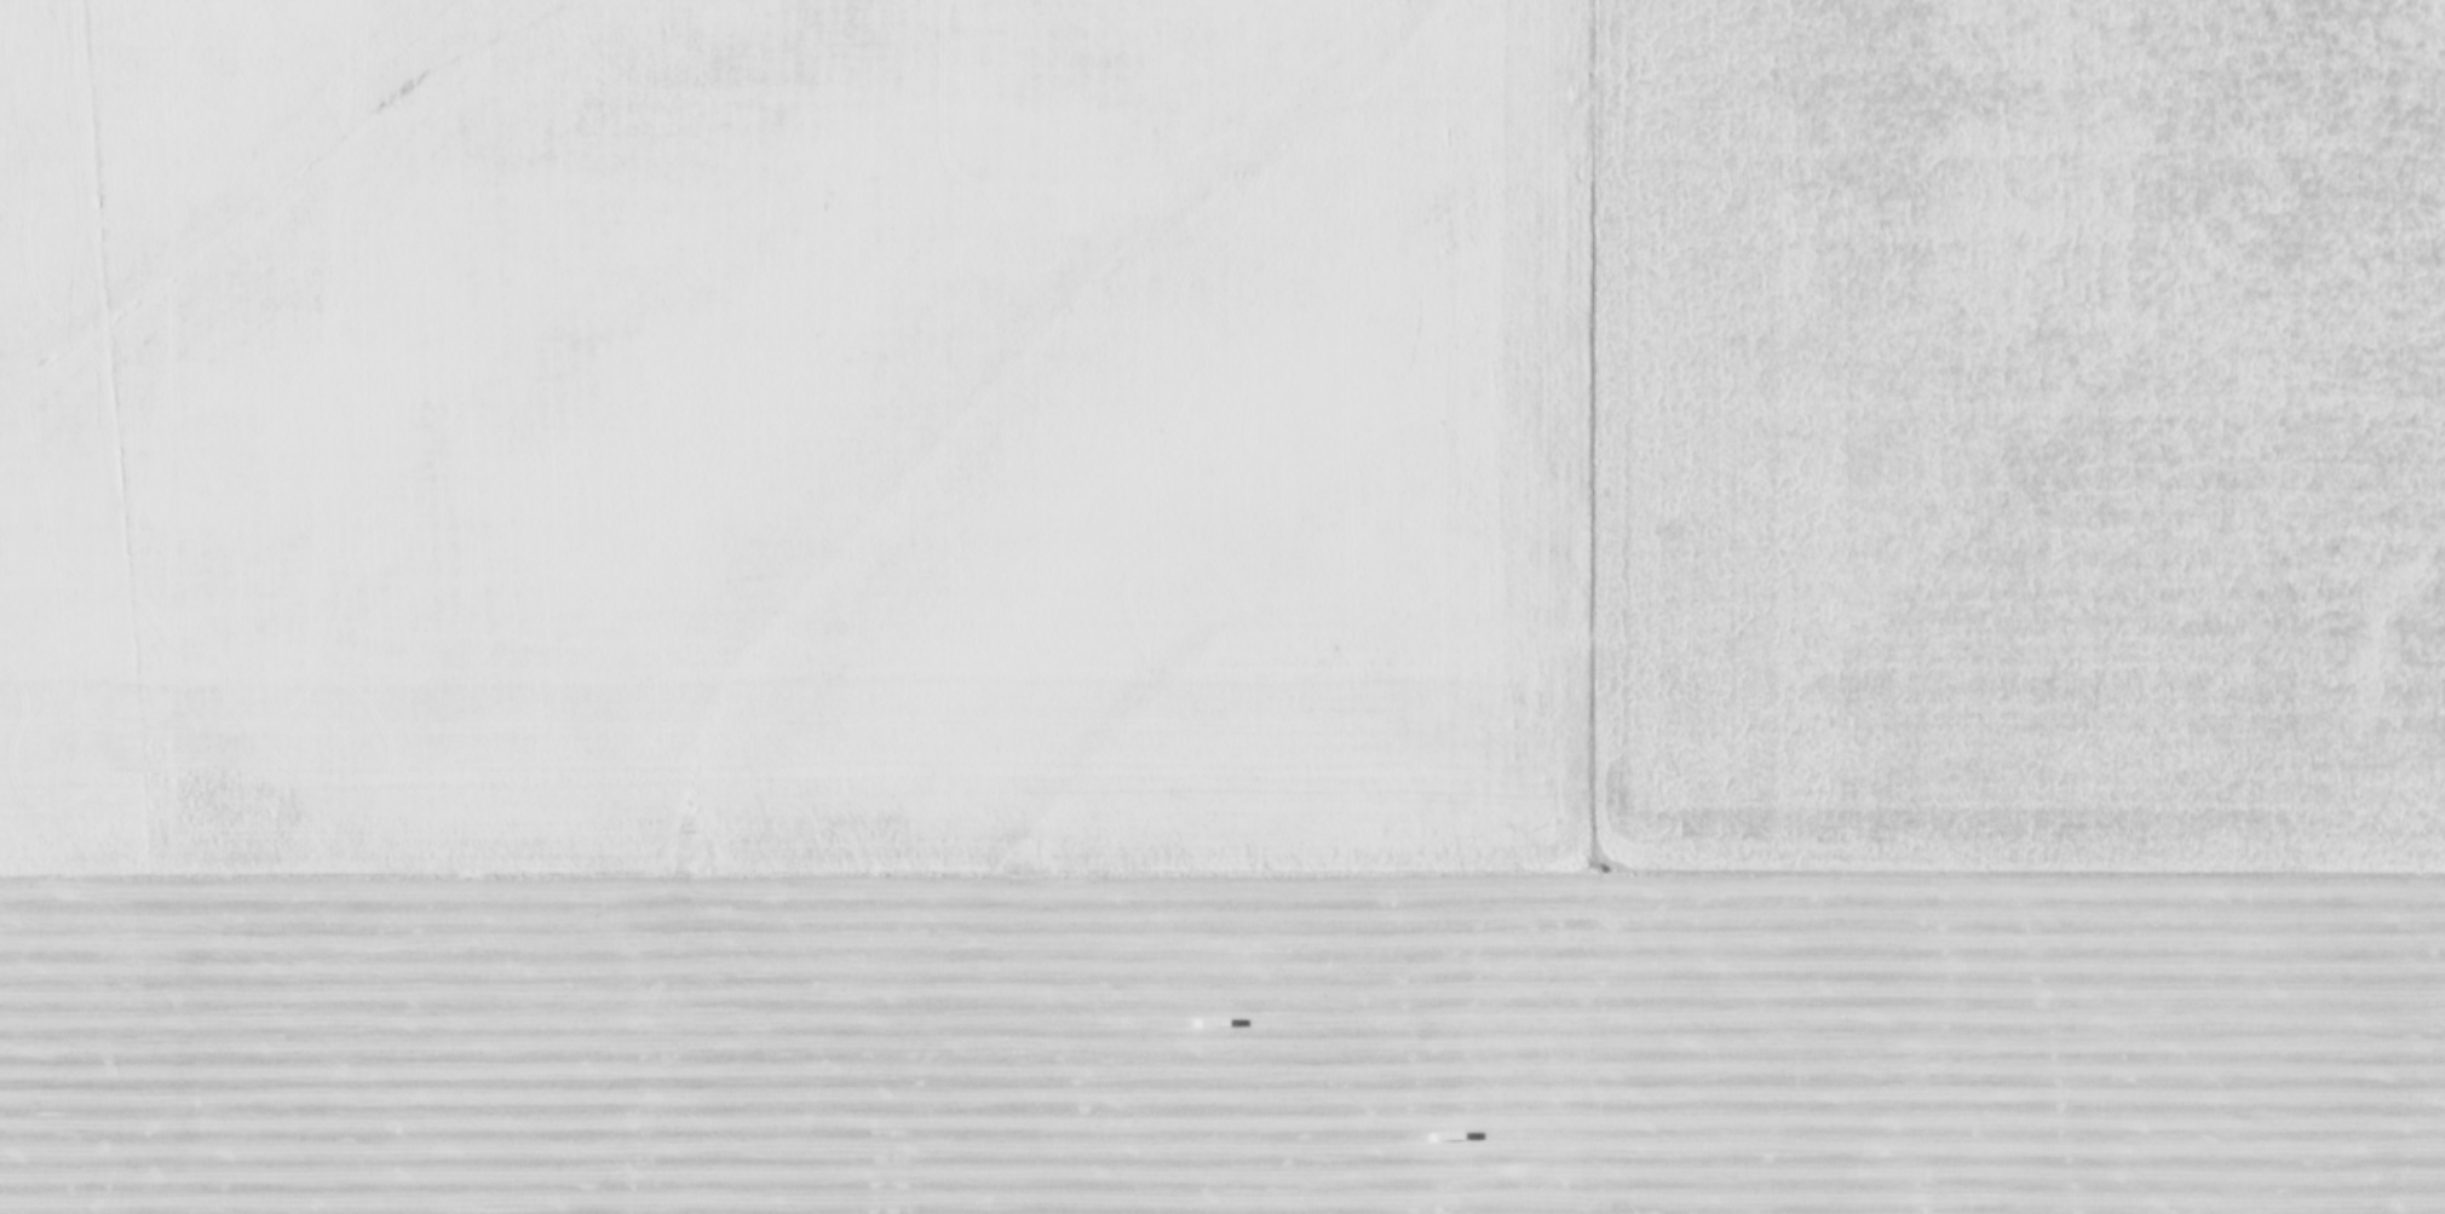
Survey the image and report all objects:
crop: (1222, 606)

